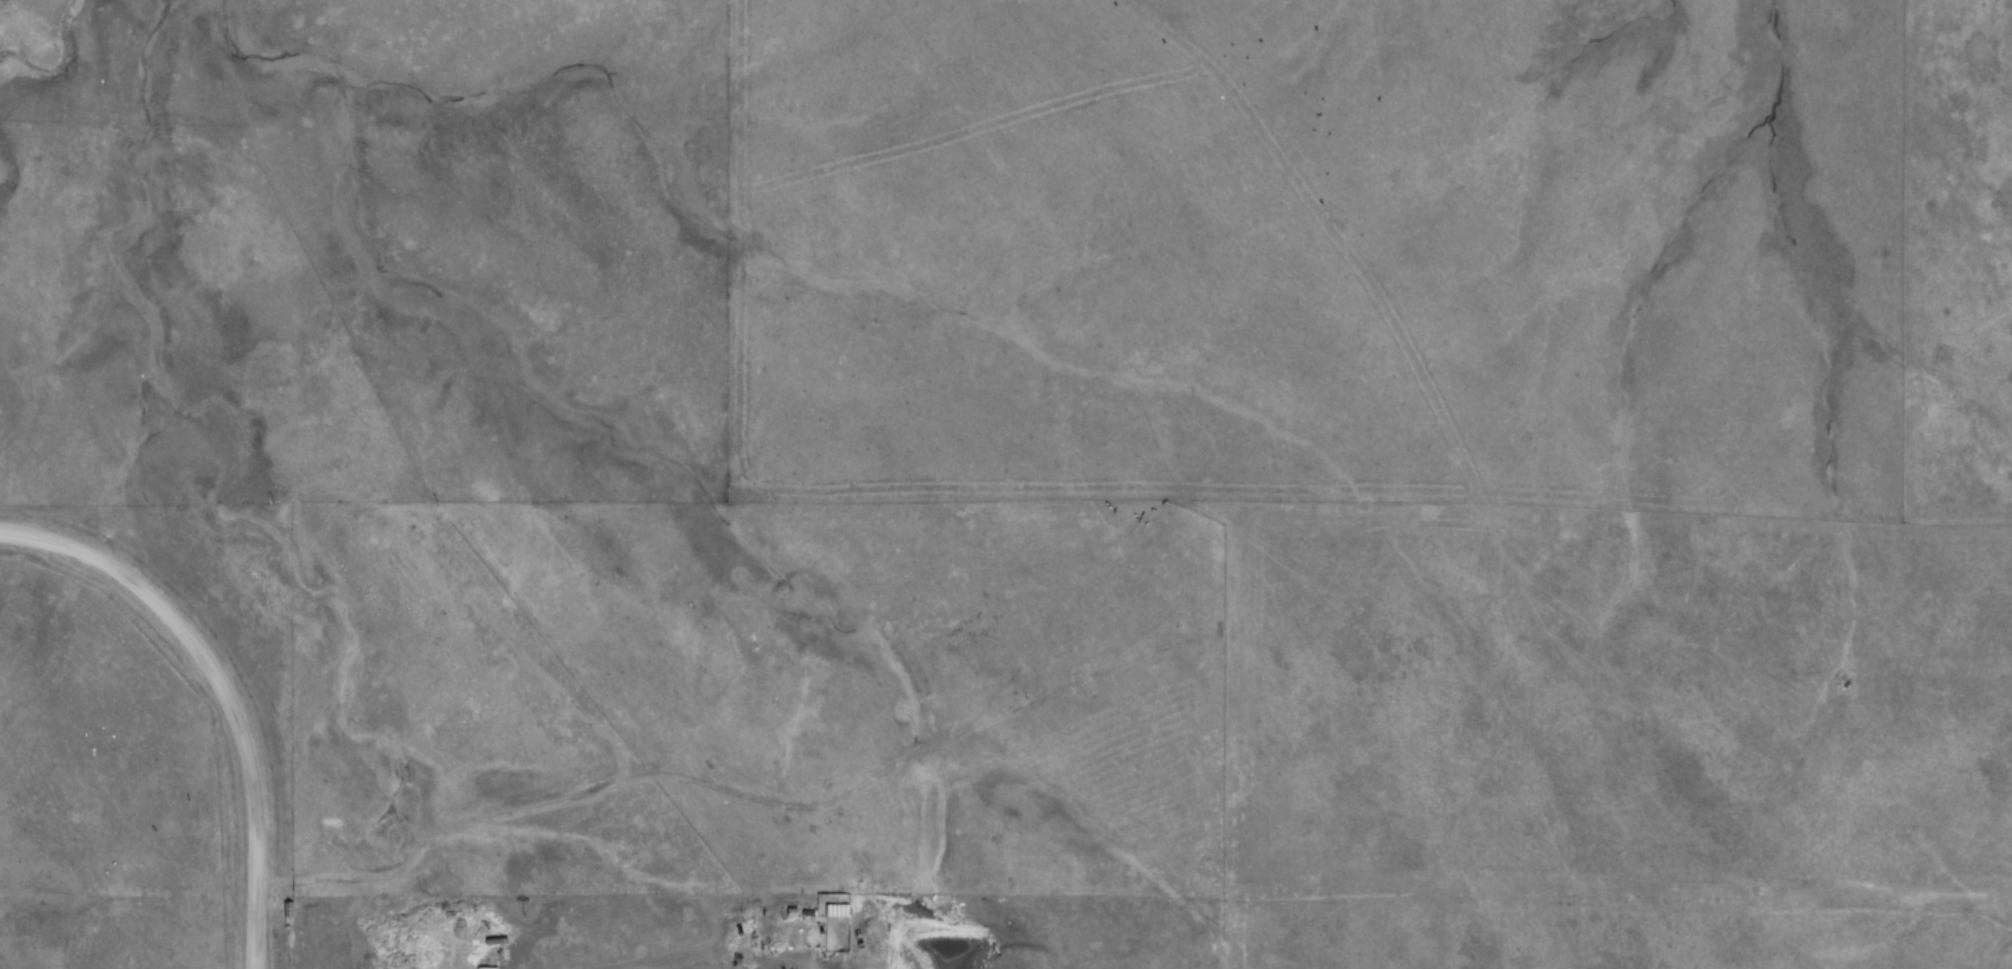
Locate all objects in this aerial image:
building: (459, 613)
road: (227, 689)

